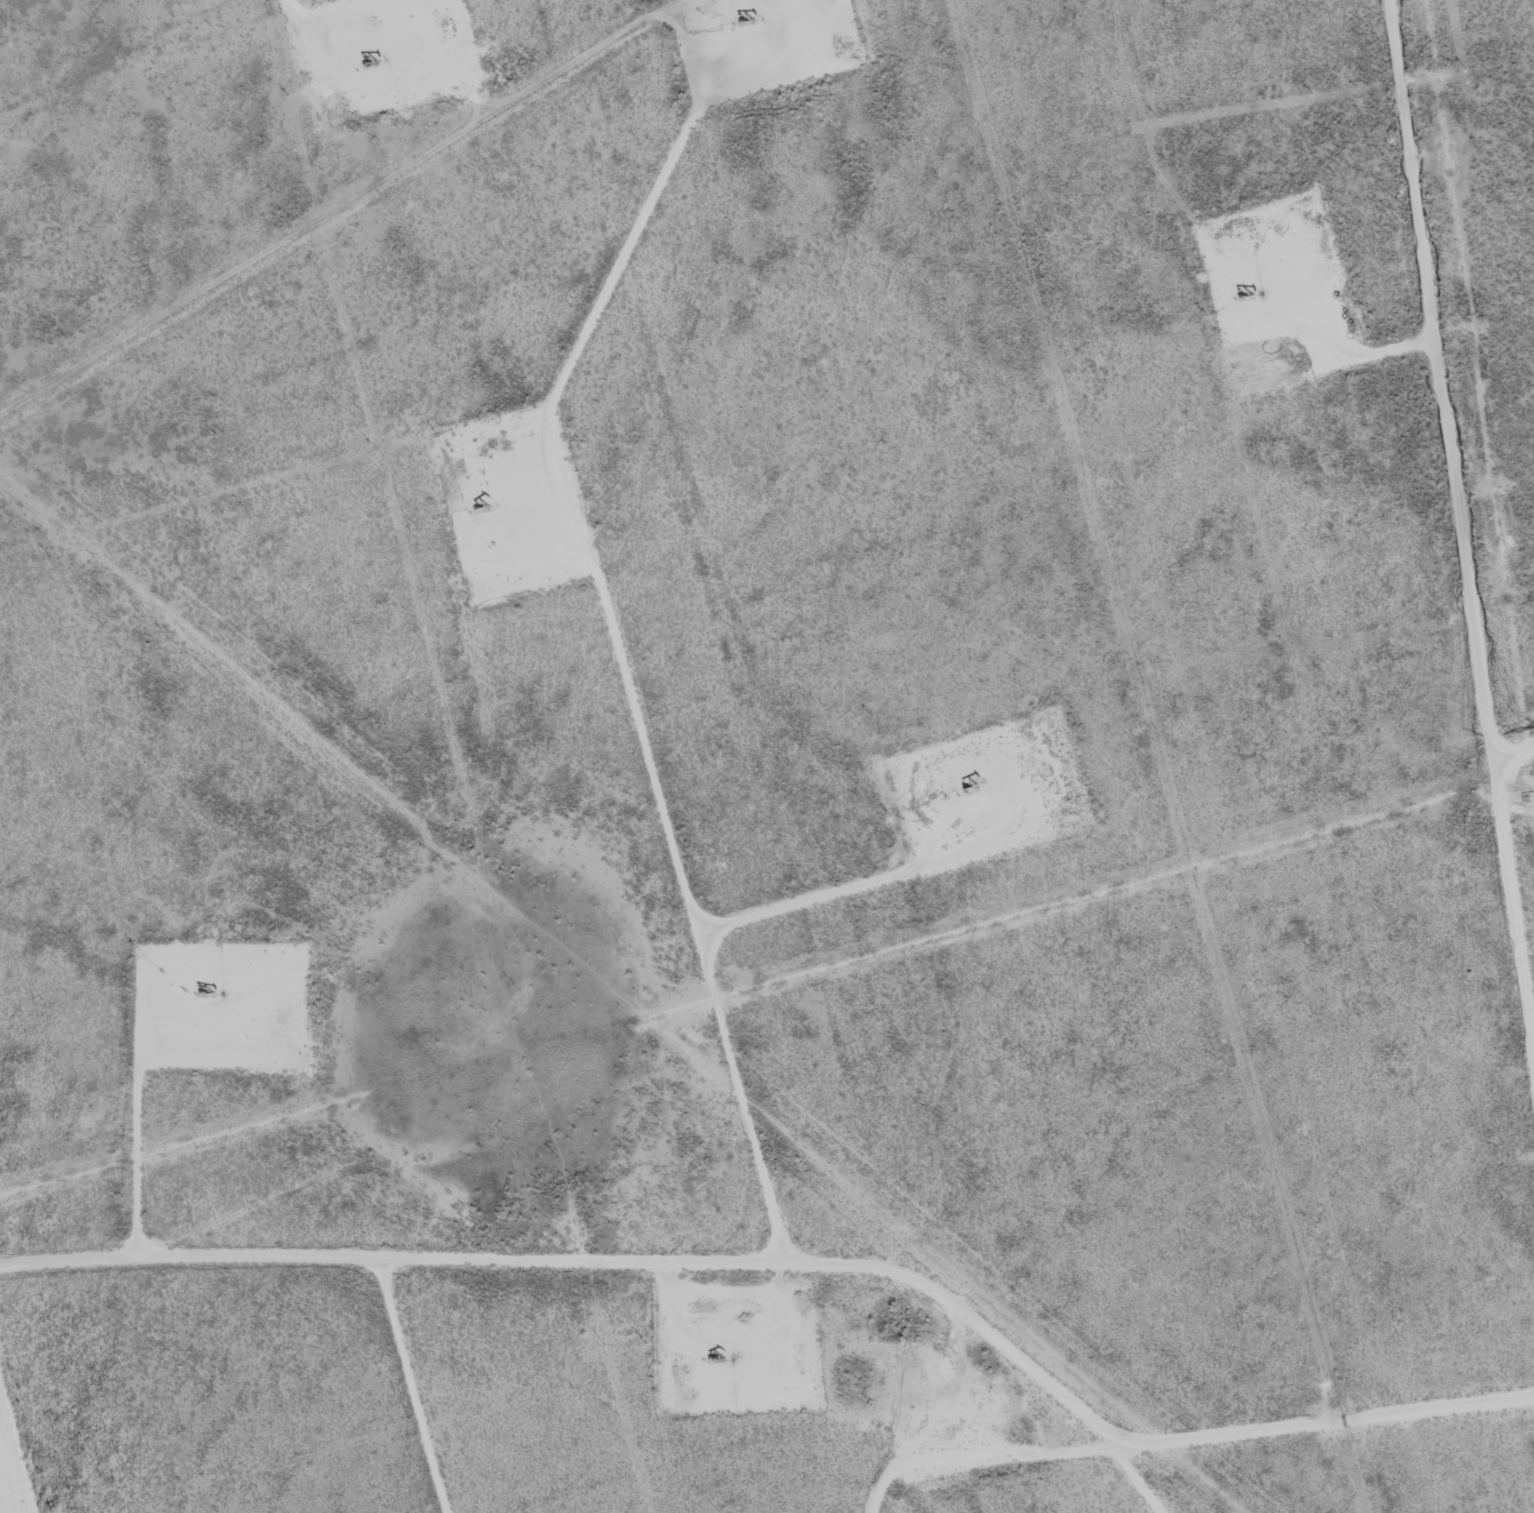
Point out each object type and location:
road: (288, 10)
road: (1446, 378)
road: (621, 654)
road: (1516, 751)
road: (1516, 886)
road: (592, 1268)
road: (1328, 1416)
road: (980, 1455)

